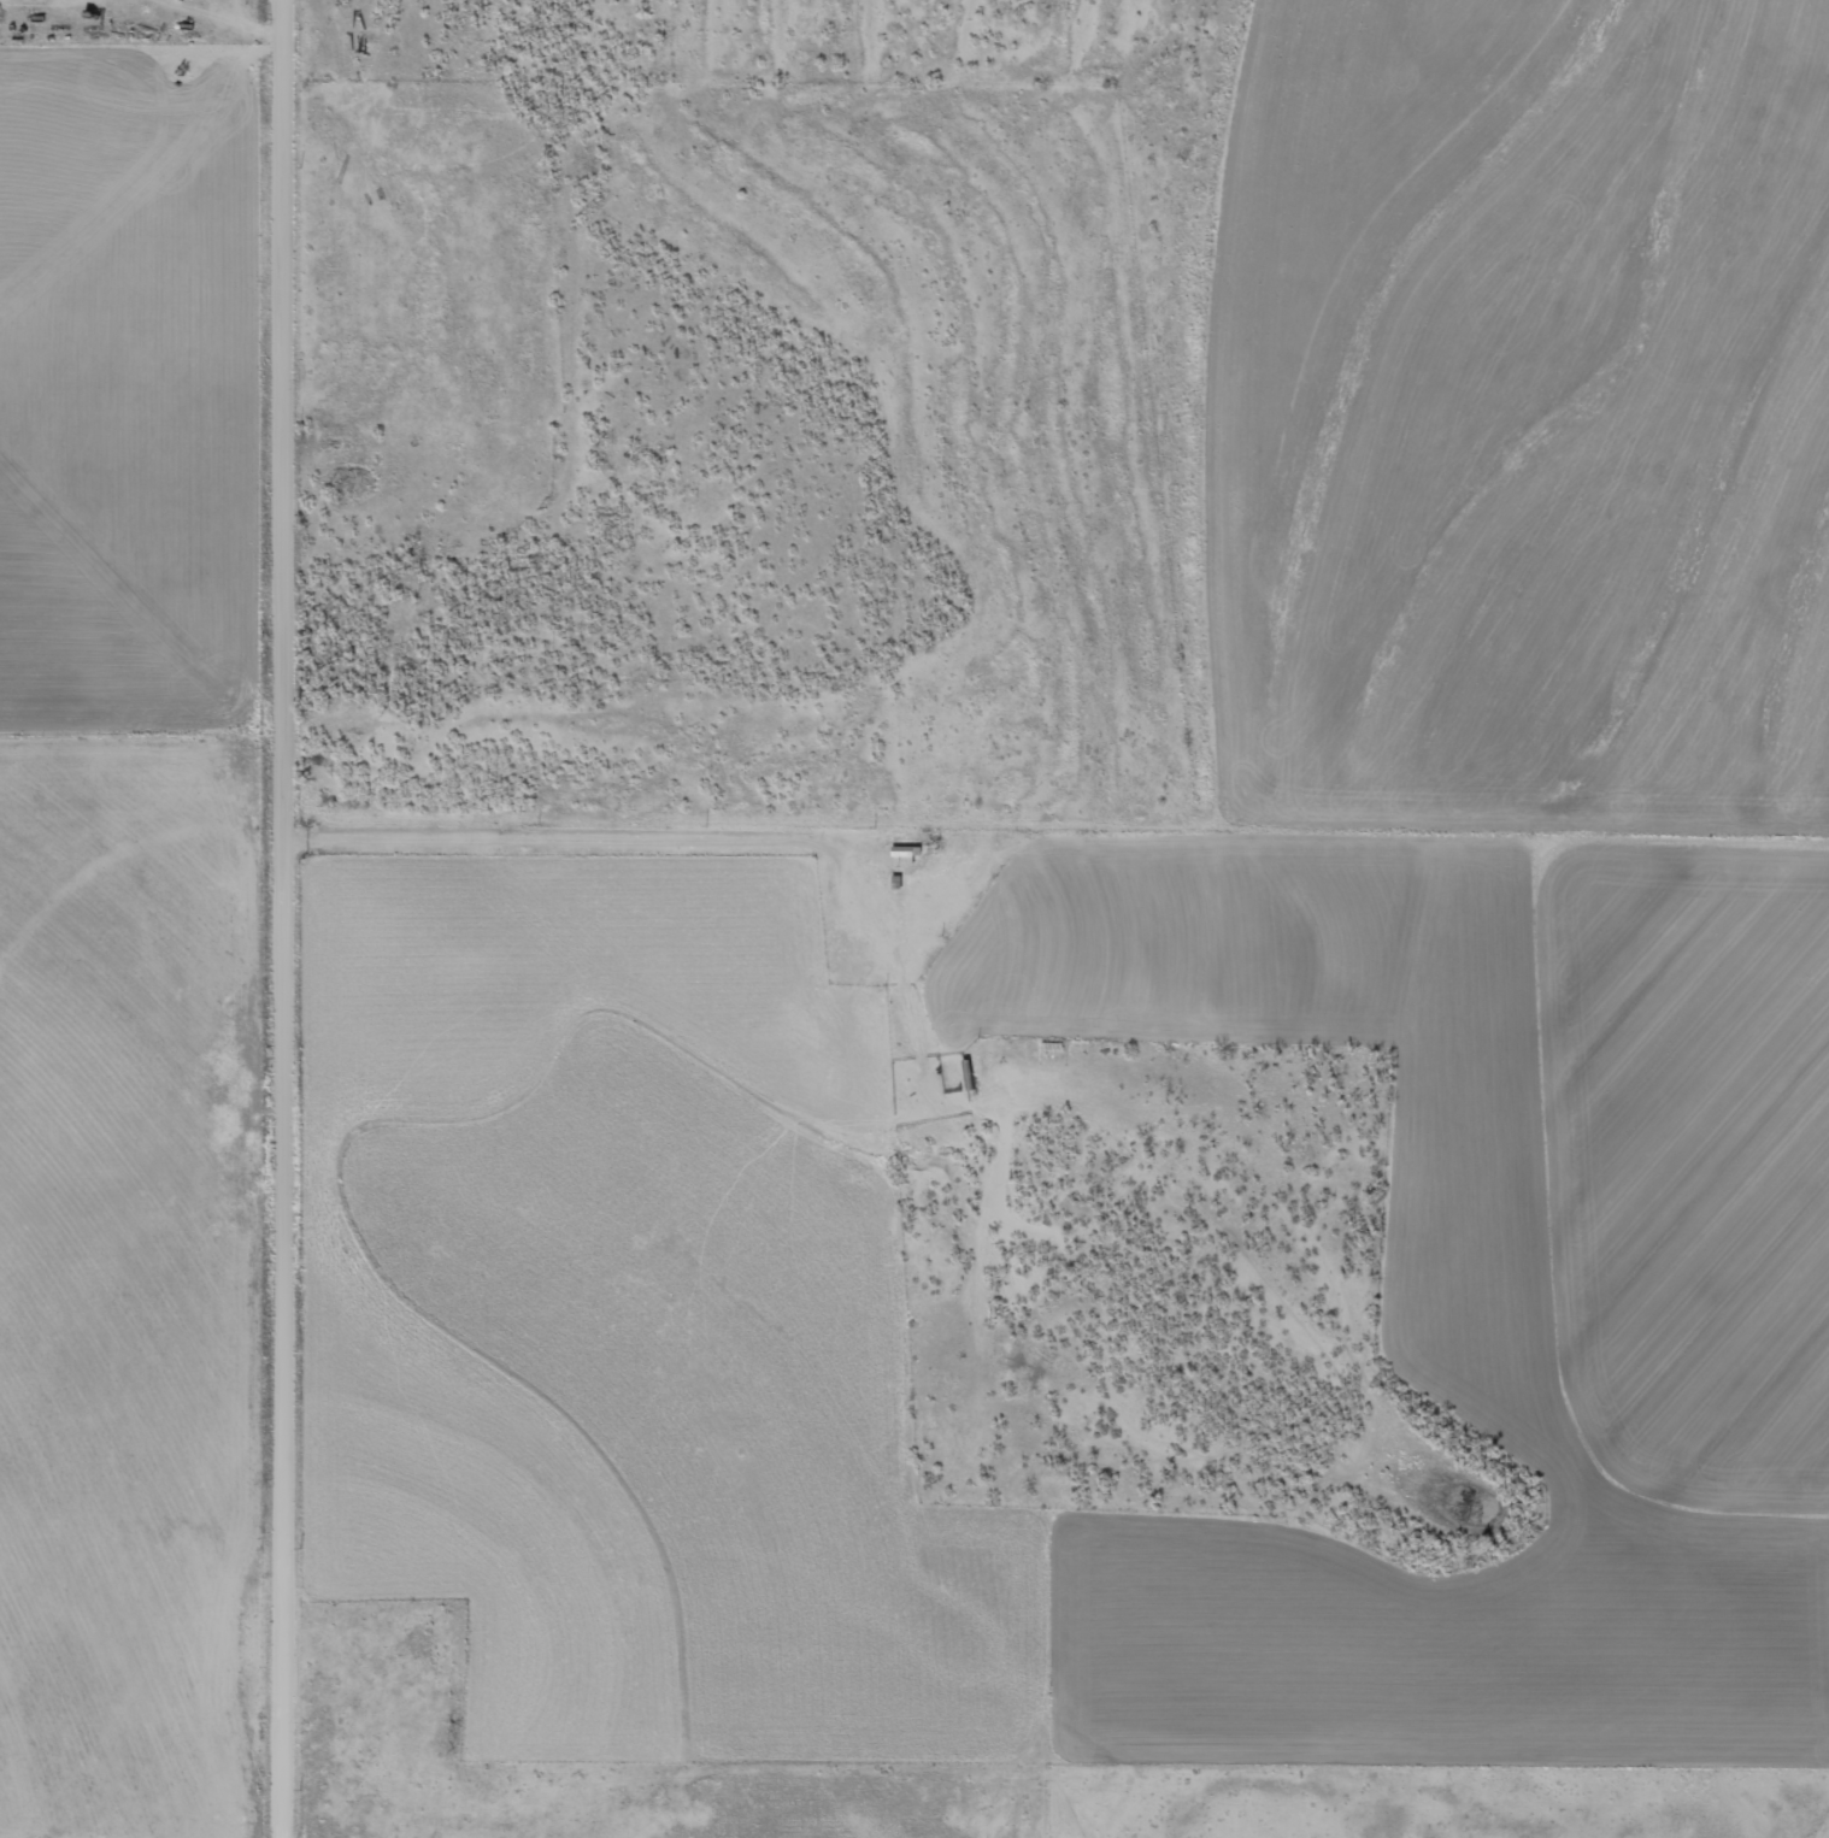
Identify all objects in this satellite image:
road: (559, 850)
road: (284, 918)

